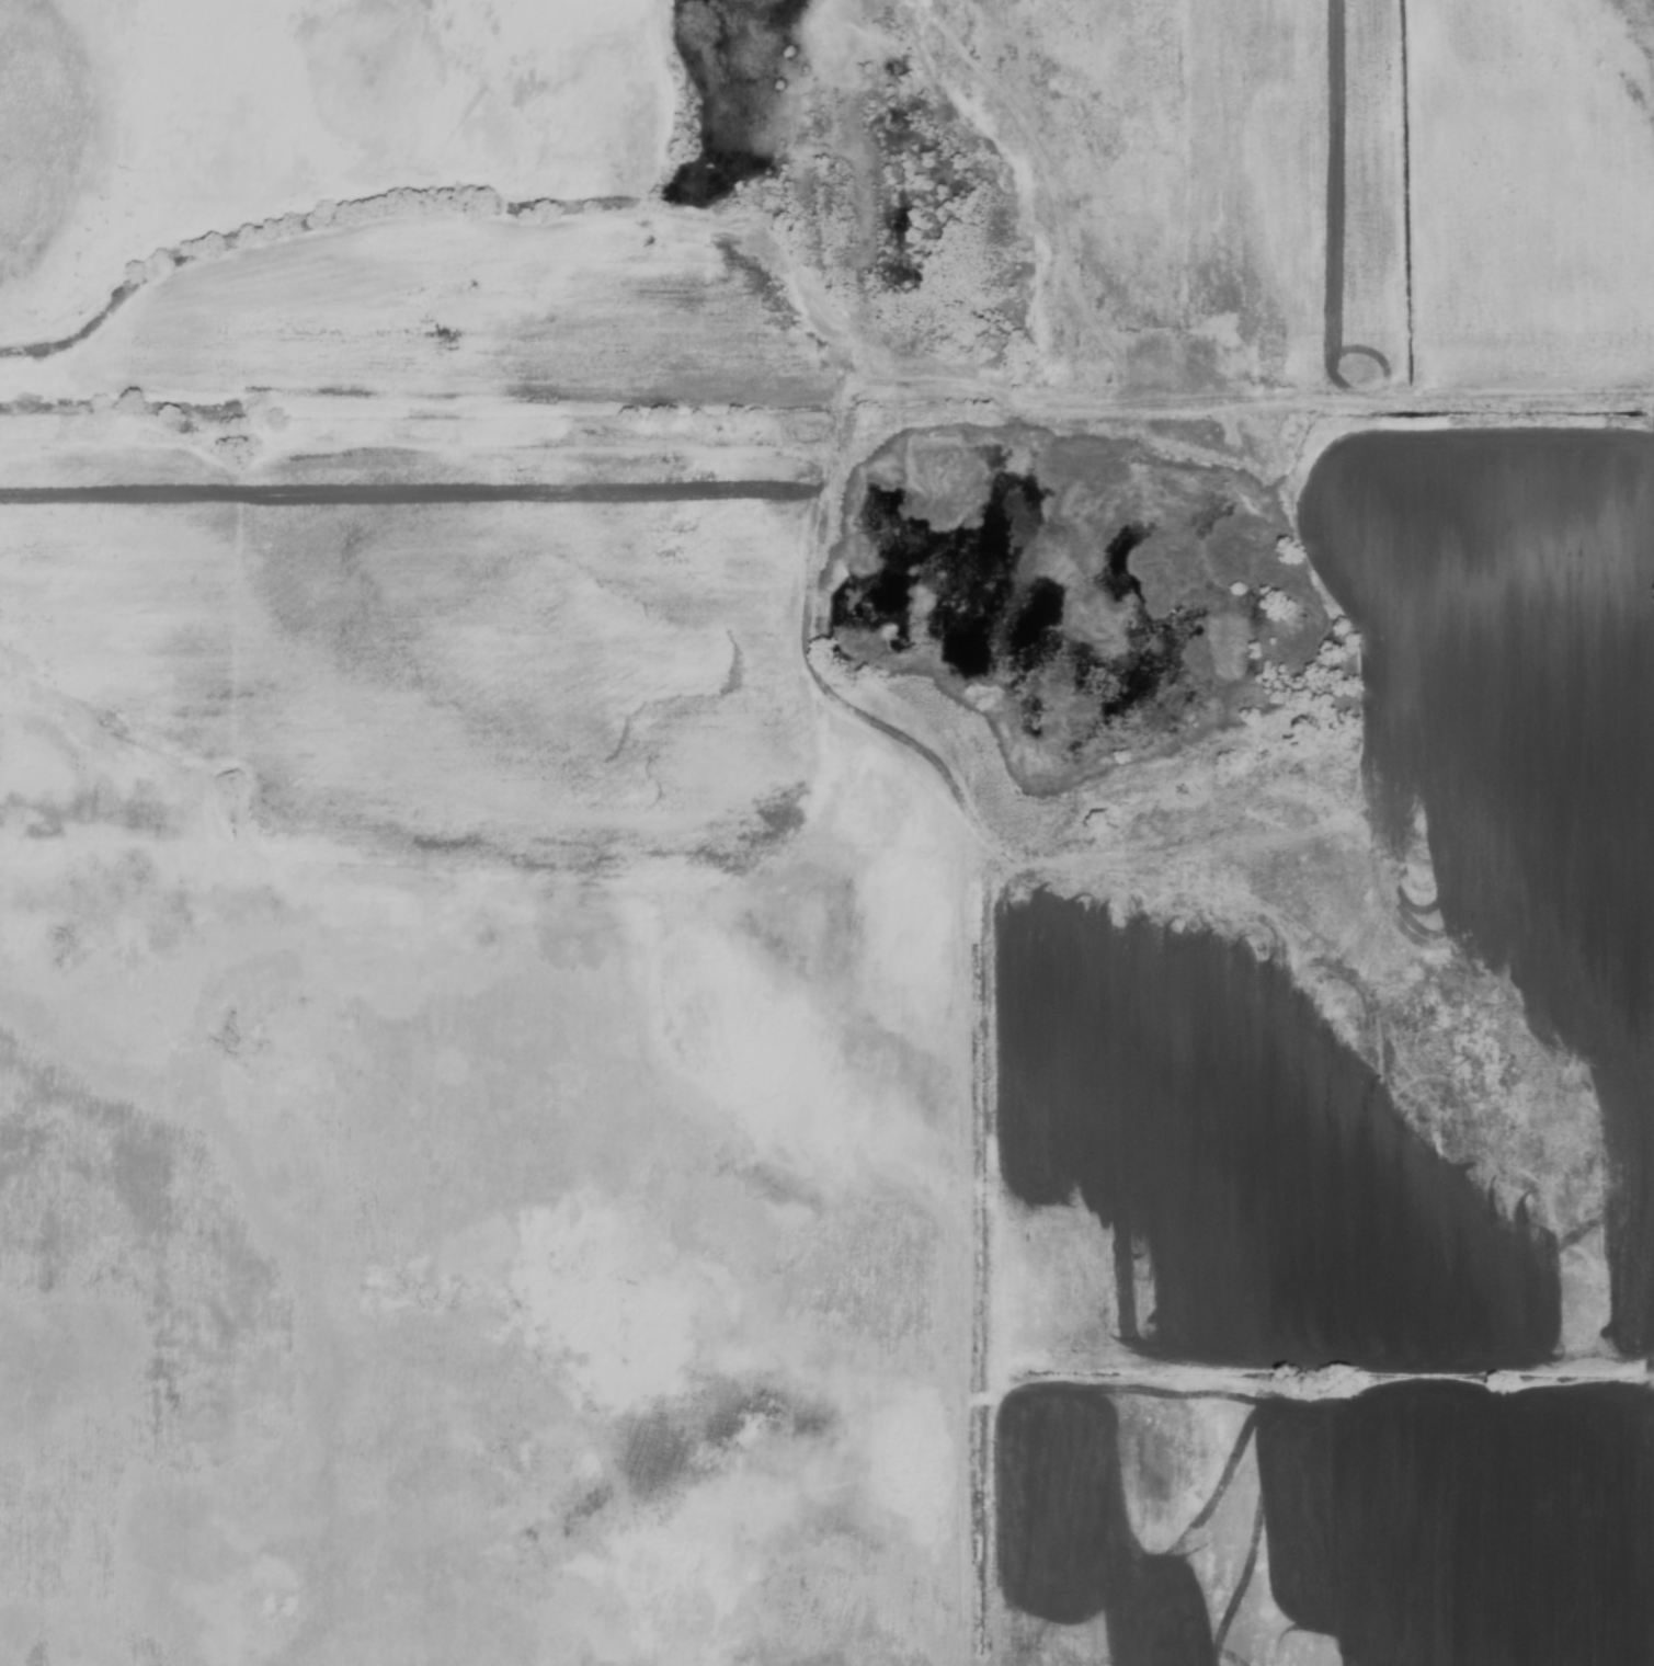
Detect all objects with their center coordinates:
crop: (826, 833)

